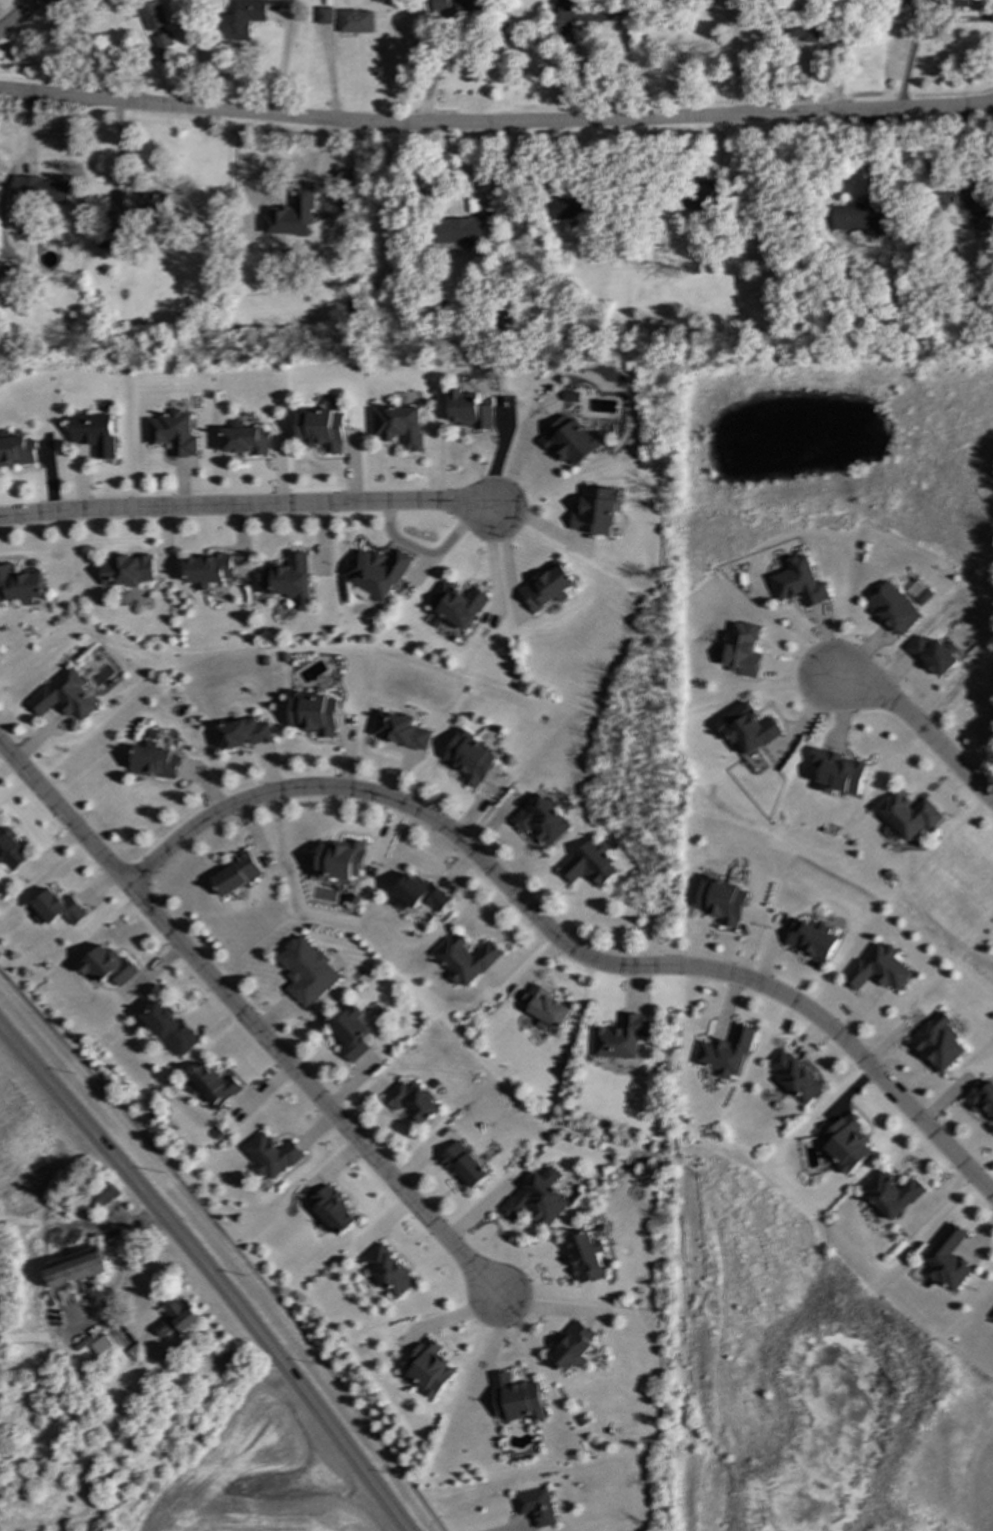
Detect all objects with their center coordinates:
building: (451, 7)
building: (586, 11)
road: (18, 14)
building: (325, 15)
building: (244, 19)
building: (356, 21)
building: (157, 25)
road: (917, 31)
building: (806, 33)
road: (736, 60)
road: (435, 72)
road: (496, 123)
building: (40, 190)
building: (708, 193)
building: (153, 203)
building: (964, 205)
building: (570, 207)
building: (859, 215)
building: (117, 222)
building: (460, 231)
building: (470, 410)
building: (400, 426)
building: (322, 429)
building: (95, 433)
building: (175, 433)
building: (247, 440)
building: (570, 441)
building: (16, 450)
road: (514, 461)
road: (245, 506)
building: (596, 511)
building: (209, 570)
building: (128, 571)
building: (378, 573)
building: (289, 579)
building: (800, 583)
building: (20, 585)
building: (547, 588)
building: (458, 605)
building: (894, 609)
building: (743, 650)
building: (934, 655)
building: (66, 696)
building: (315, 714)
building: (749, 730)
building: (401, 731)
building: (244, 733)
road: (915, 735)
building: (471, 758)
building: (156, 762)
building: (839, 772)
building: (909, 815)
building: (543, 821)
building: (11, 851)
building: (341, 860)
building: (591, 865)
building: (238, 874)
building: (420, 894)
building: (722, 901)
building: (58, 909)
building: (812, 941)
road: (564, 946)
building: (466, 960)
building: (108, 966)
building: (879, 969)
building: (308, 971)
building: (546, 1008)
road: (250, 1017)
building: (171, 1029)
building: (353, 1034)
building: (621, 1038)
building: (939, 1044)
building: (725, 1054)
building: (795, 1077)
building: (217, 1086)
building: (980, 1098)
building: (413, 1101)
building: (846, 1143)
building: (272, 1156)
building: (464, 1164)
building: (891, 1195)
building: (104, 1196)
building: (538, 1198)
building: (333, 1211)
building: (114, 1237)
road: (231, 1243)
building: (585, 1257)
building: (948, 1260)
building: (77, 1267)
building: (388, 1272)
road: (209, 1274)
building: (178, 1319)
building: (992, 1320)
building: (103, 1347)
building: (572, 1347)
building: (138, 1352)
building: (429, 1368)
building: (517, 1399)
building: (536, 1507)

